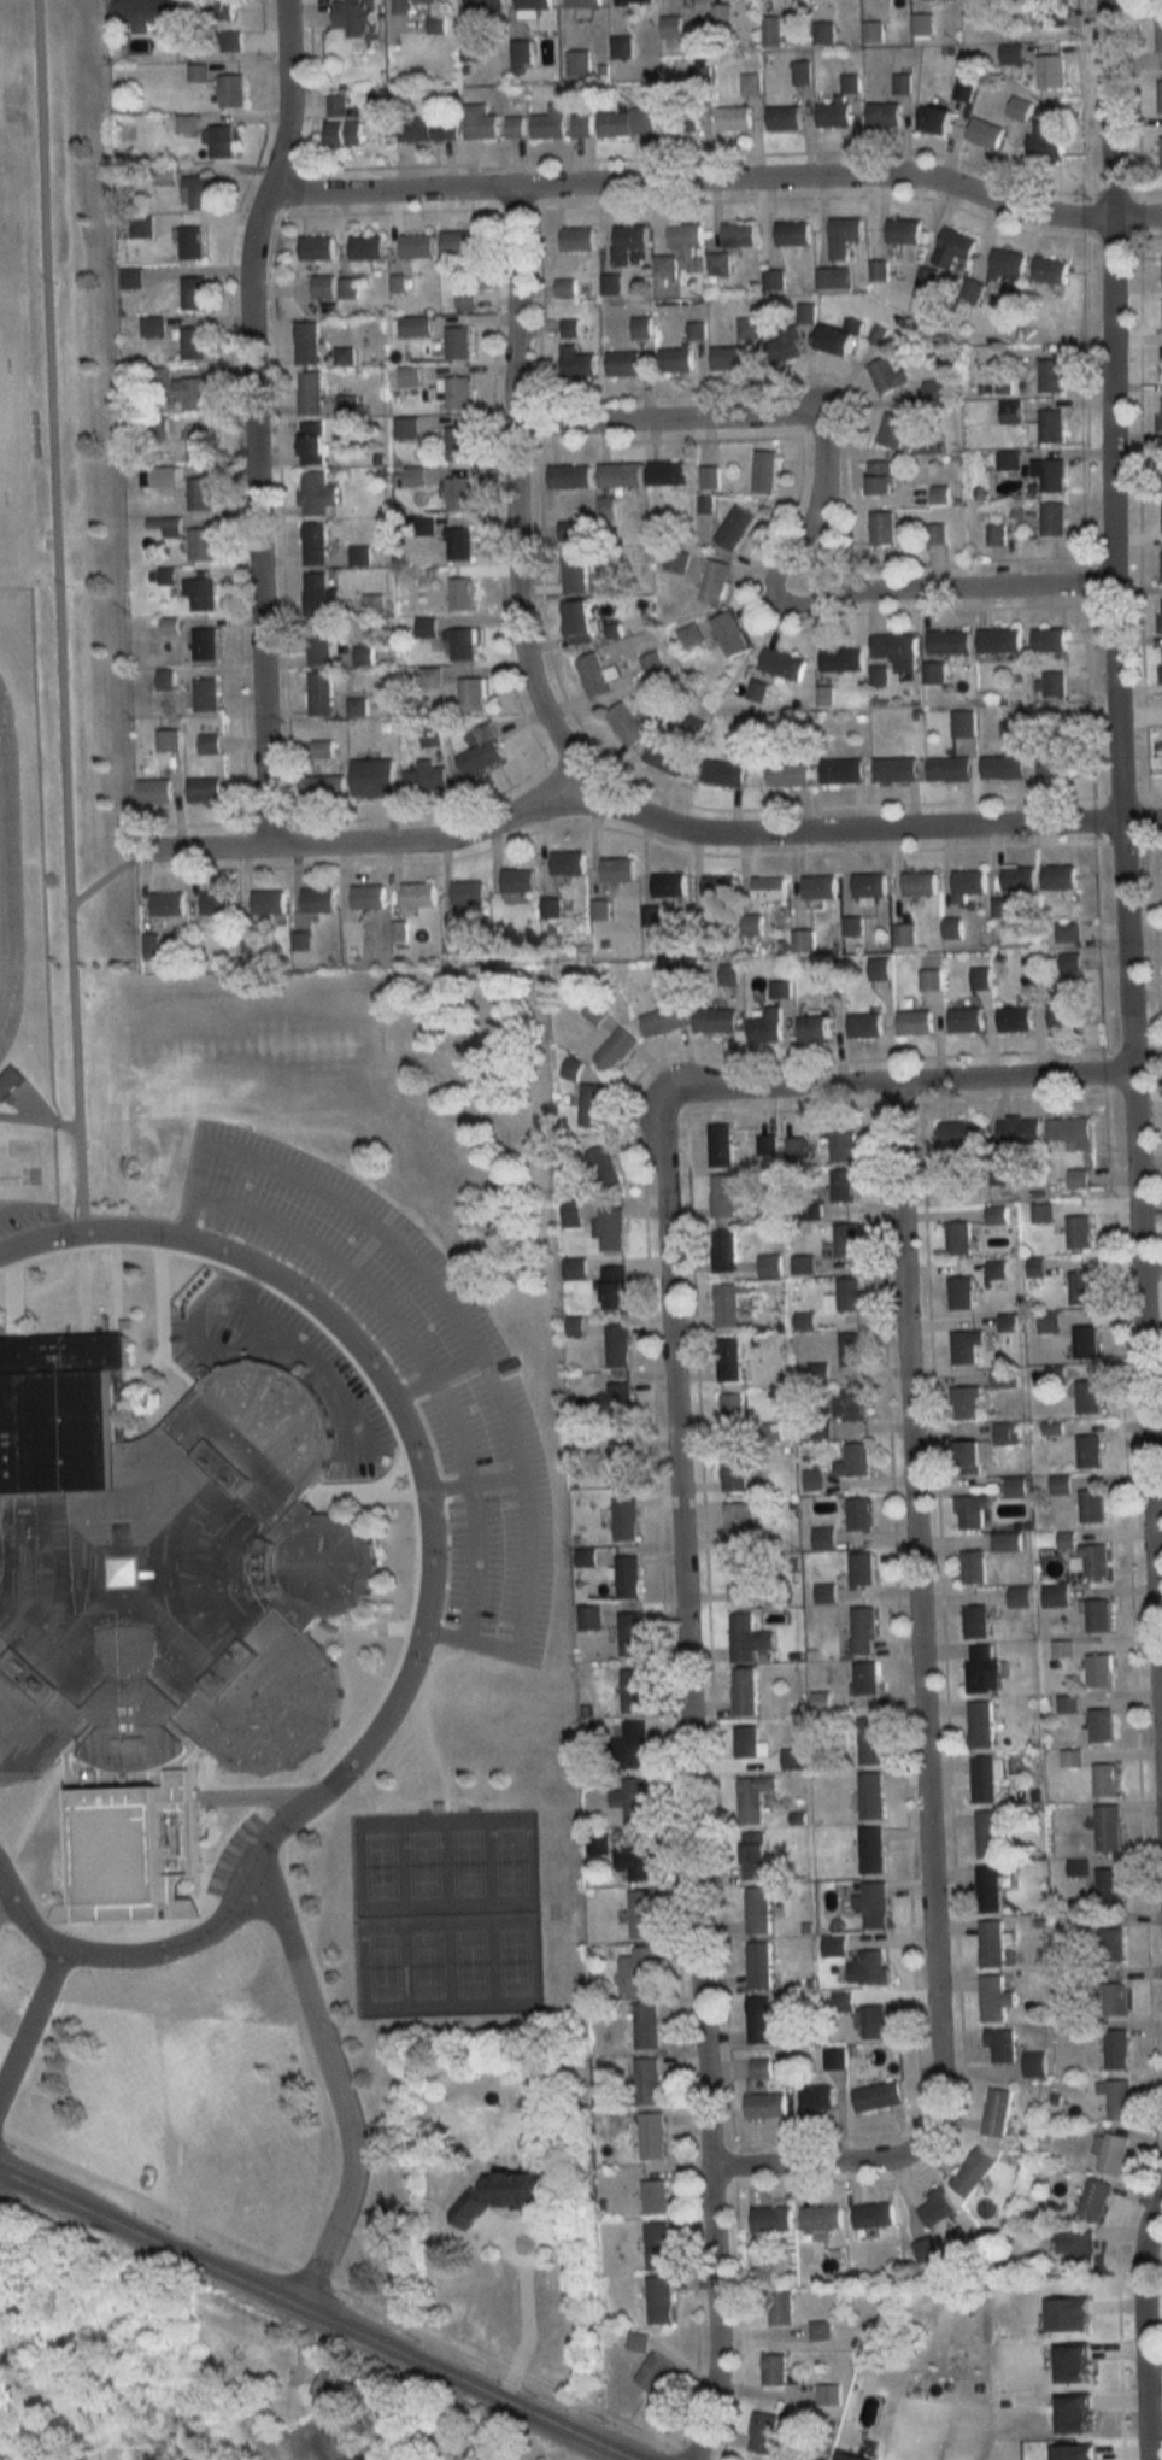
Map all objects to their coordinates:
building: (634, 1)
building: (582, 2)
building: (483, 4)
building: (532, 6)
building: (211, 8)
building: (972, 10)
building: (143, 13)
building: (421, 14)
building: (358, 20)
building: (1052, 22)
building: (922, 24)
building: (670, 27)
building: (822, 33)
building: (1160, 34)
building: (229, 41)
building: (621, 47)
building: (469, 49)
building: (521, 52)
building: (1011, 53)
building: (577, 63)
building: (1049, 70)
building: (799, 71)
building: (850, 80)
building: (967, 80)
building: (750, 83)
building: (902, 83)
building: (231, 90)
building: (1160, 95)
building: (1020, 107)
building: (834, 112)
building: (884, 115)
building: (782, 117)
building: (681, 118)
building: (733, 118)
building: (935, 118)
building: (480, 121)
building: (548, 122)
building: (624, 122)
building: (341, 124)
building: (580, 124)
building: (513, 125)
building: (427, 128)
building: (985, 131)
building: (1045, 140)
building: (219, 141)
building: (1161, 152)
road: (716, 183)
building: (199, 192)
building: (904, 230)
building: (792, 233)
building: (685, 235)
building: (738, 235)
building: (844, 235)
building: (576, 239)
building: (190, 242)
building: (456, 242)
building: (627, 242)
building: (415, 245)
building: (365, 247)
building: (953, 247)
building: (316, 248)
building: (717, 263)
building: (1007, 263)
building: (1050, 269)
building: (833, 277)
building: (130, 278)
building: (773, 280)
building: (925, 281)
building: (322, 287)
building: (564, 288)
building: (194, 294)
building: (464, 299)
building: (415, 327)
building: (641, 327)
building: (569, 329)
building: (840, 337)
building: (457, 342)
building: (193, 344)
building: (306, 344)
building: (786, 346)
building: (728, 358)
building: (675, 359)
building: (576, 363)
building: (623, 363)
building: (1161, 364)
building: (888, 375)
building: (1050, 375)
building: (407, 377)
building: (935, 389)
building: (456, 392)
building: (190, 393)
building: (310, 393)
building: (346, 405)
building: (1160, 413)
road: (251, 423)
building: (1050, 425)
building: (405, 427)
building: (892, 428)
building: (198, 442)
building: (312, 442)
building: (454, 444)
building: (929, 444)
building: (1161, 464)
building: (764, 471)
building: (620, 475)
building: (1047, 475)
building: (413, 476)
building: (569, 476)
building: (670, 476)
building: (881, 476)
building: (709, 477)
building: (316, 493)
building: (199, 494)
building: (457, 494)
road: (824, 494)
building: (939, 494)
road: (511, 497)
building: (1051, 518)
building: (165, 526)
building: (734, 527)
building: (882, 528)
building: (567, 530)
building: (935, 534)
building: (994, 534)
building: (200, 544)
building: (315, 544)
building: (458, 544)
building: (359, 556)
building: (676, 560)
building: (1161, 565)
building: (574, 571)
building: (714, 581)
building: (200, 594)
building: (316, 594)
building: (460, 594)
building: (372, 605)
building: (1160, 616)
building: (579, 623)
building: (424, 628)
building: (730, 634)
building: (691, 635)
building: (998, 640)
building: (1049, 640)
building: (949, 642)
building: (205, 645)
building: (318, 645)
building: (463, 645)
building: (898, 651)
building: (843, 659)
building: (652, 662)
building: (782, 664)
building: (1161, 665)
building: (933, 673)
building: (592, 675)
building: (879, 676)
building: (1054, 683)
building: (319, 694)
building: (471, 694)
building: (206, 695)
building: (357, 706)
building: (962, 723)
building: (626, 724)
building: (1014, 730)
building: (209, 744)
building: (169, 750)
building: (322, 750)
building: (482, 751)
building: (667, 759)
building: (1055, 763)
building: (1003, 767)
building: (894, 769)
building: (950, 769)
building: (841, 771)
building: (723, 773)
building: (788, 775)
building: (374, 777)
building: (432, 779)
building: (322, 787)
building: (154, 791)
building: (204, 791)
road: (639, 815)
building: (567, 862)
building: (617, 869)
road: (1122, 875)
building: (1058, 877)
building: (1020, 879)
building: (517, 880)
building: (920, 883)
building: (968, 883)
building: (668, 885)
building: (869, 885)
building: (818, 887)
building: (720, 888)
building: (768, 892)
building: (469, 893)
building: (418, 894)
building: (368, 897)
building: (318, 900)
building: (268, 903)
building: (168, 904)
building: (218, 904)
building: (551, 909)
building: (599, 910)
building: (952, 928)
building: (904, 934)
building: (804, 940)
building: (1070, 962)
building: (879, 968)
building: (729, 974)
building: (981, 977)
building: (669, 979)
building: (931, 979)
building: (828, 982)
building: (780, 990)
building: (1064, 1016)
building: (1014, 1018)
building: (715, 1020)
building: (966, 1020)
building: (663, 1021)
building: (915, 1022)
building: (864, 1024)
building: (767, 1027)
building: (815, 1029)
building: (615, 1050)
building: (571, 1069)
building: (7, 1080)
road: (898, 1084)
building: (591, 1105)
building: (959, 1133)
building: (1044, 1133)
building: (721, 1145)
building: (767, 1145)
building: (841, 1145)
building: (796, 1150)
building: (604, 1168)
building: (1078, 1179)
building: (843, 1186)
building: (727, 1194)
building: (764, 1213)
building: (571, 1214)
building: (1041, 1214)
road: (360, 1219)
building: (611, 1229)
building: (1079, 1232)
building: (958, 1239)
building: (846, 1240)
building: (723, 1251)
road: (329, 1257)
building: (770, 1266)
building: (575, 1269)
building: (1081, 1287)
building: (615, 1288)
building: (961, 1293)
building: (849, 1296)
building: (728, 1304)
building: (1085, 1341)
building: (618, 1346)
building: (966, 1346)
road: (295, 1349)
building: (851, 1349)
building: (729, 1361)
building: (1087, 1397)
building: (966, 1403)
building: (617, 1405)
building: (851, 1405)
building: (733, 1415)
building: (773, 1432)
building: (1007, 1433)
road: (412, 1439)
road: (511, 1445)
building: (1088, 1451)
road: (460, 1457)
building: (967, 1457)
building: (853, 1461)
building: (622, 1463)
building: (734, 1470)
building: (1091, 1507)
building: (970, 1511)
building: (858, 1514)
building: (624, 1520)
building: (738, 1526)
building: (586, 1557)
road: (474, 1560)
building: (1093, 1562)
building: (973, 1567)
building: (861, 1569)
building: (628, 1578)
building: (745, 1580)
building: (1019, 1597)
building: (1055, 1597)
building: (159, 1601)
road: (518, 1608)
building: (1097, 1616)
building: (589, 1619)
building: (974, 1624)
building: (863, 1631)
building: (632, 1636)
building: (747, 1639)
building: (981, 1672)
building: (1099, 1672)
building: (865, 1679)
building: (744, 1691)
building: (632, 1692)
building: (980, 1725)
road: (922, 1726)
building: (1101, 1726)
building: (869, 1740)
building: (634, 1745)
building: (749, 1746)
road: (687, 1778)
building: (984, 1779)
building: (1105, 1780)
building: (870, 1796)
building: (753, 1798)
building: (633, 1800)
building: (1108, 1827)
building: (988, 1833)
building: (870, 1850)
building: (755, 1855)
building: (634, 1861)
park: (509, 1862)
park: (465, 1863)
park: (423, 1865)
park: (378, 1866)
building: (1078, 1867)
building: (1109, 1884)
building: (996, 1887)
road: (5, 1894)
building: (874, 1906)
building: (757, 1909)
building: (641, 1913)
building: (992, 1943)
building: (1110, 1944)
road: (124, 1953)
park: (512, 1962)
park: (469, 1963)
building: (758, 1965)
park: (426, 1966)
park: (382, 1967)
building: (869, 1967)
building: (639, 1971)
building: (994, 1998)
building: (1115, 1998)
road: (30, 2013)
building: (759, 2020)
building: (875, 2024)
building: (646, 2025)
building: (1000, 2045)
building: (1116, 2049)
building: (1034, 2063)
building: (759, 2067)
building: (647, 2080)
road: (336, 2095)
building: (878, 2096)
building: (1114, 2097)
building: (817, 2100)
building: (764, 2104)
building: (997, 2112)
building: (651, 2136)
building: (1110, 2151)
building: (973, 2172)
building: (653, 2197)
building: (1093, 2198)
building: (937, 2207)
building: (874, 2215)
building: (821, 2218)
building: (771, 2219)
road: (505, 2244)
building: (657, 2245)
building: (925, 2249)
building: (1078, 2249)
road: (354, 2296)
building: (659, 2301)
building: (779, 2308)
road: (311, 2312)
building: (820, 2331)
road: (1142, 2332)
road: (527, 2335)
building: (638, 2339)
road: (1120, 2350)
building: (774, 2370)
building: (653, 2372)
building: (340, 2389)
building: (827, 2395)
building: (763, 2432)
building: (439, 2444)
building: (468, 2453)
building: (811, 2458)

